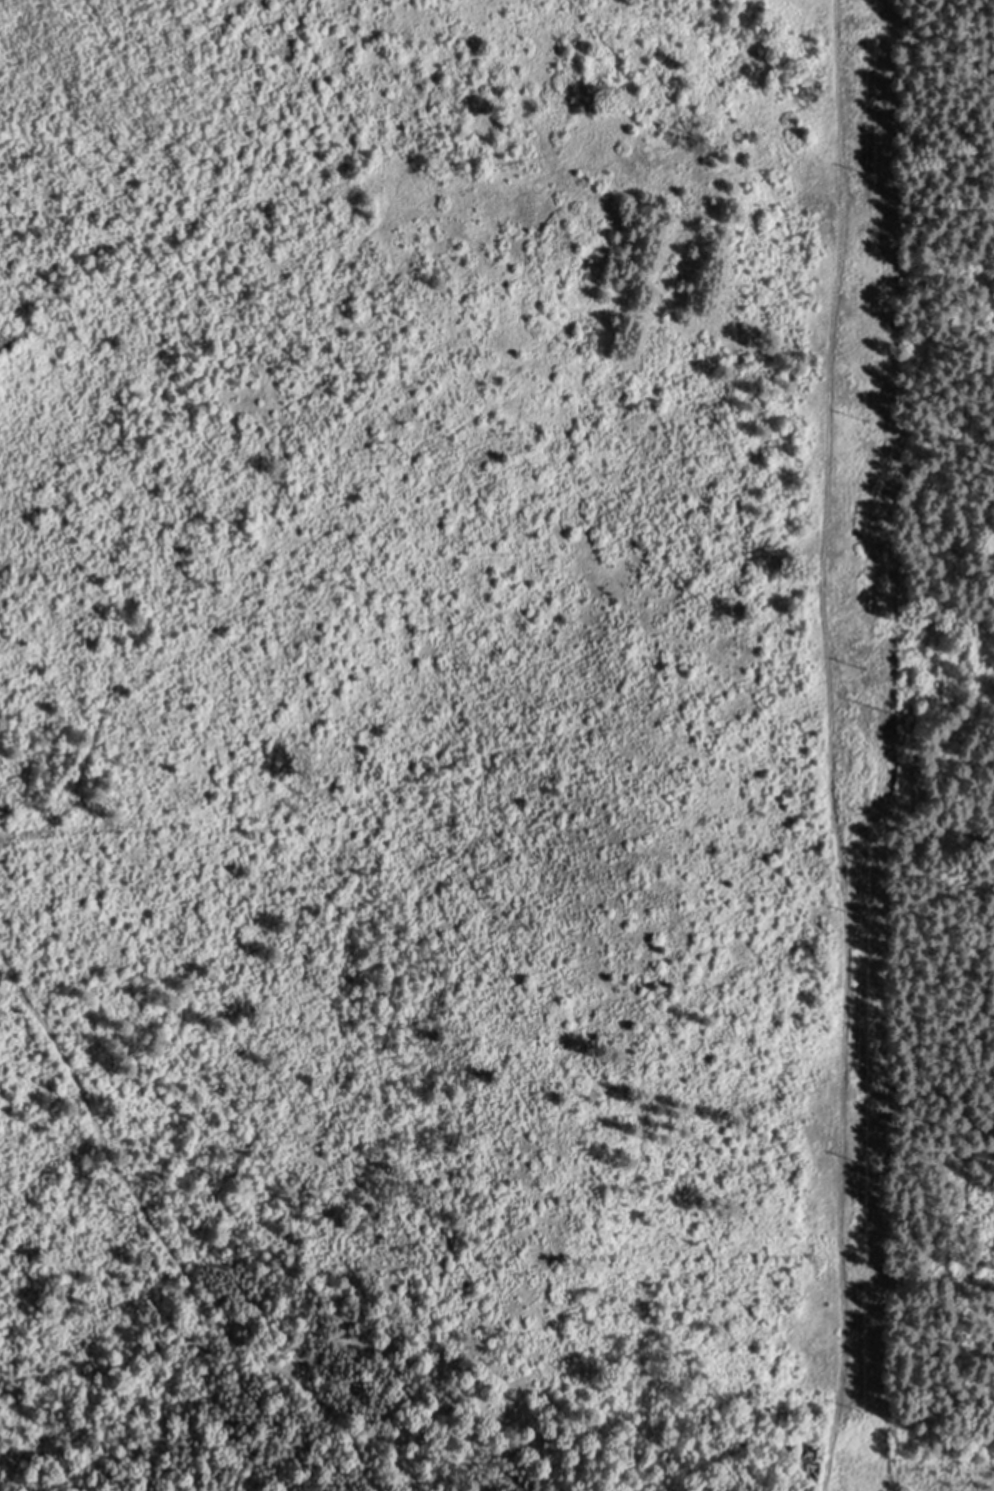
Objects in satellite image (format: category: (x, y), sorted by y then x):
power tower: (872, 665)
road: (832, 746)
power tower: (862, 916)
power tower: (860, 1166)

